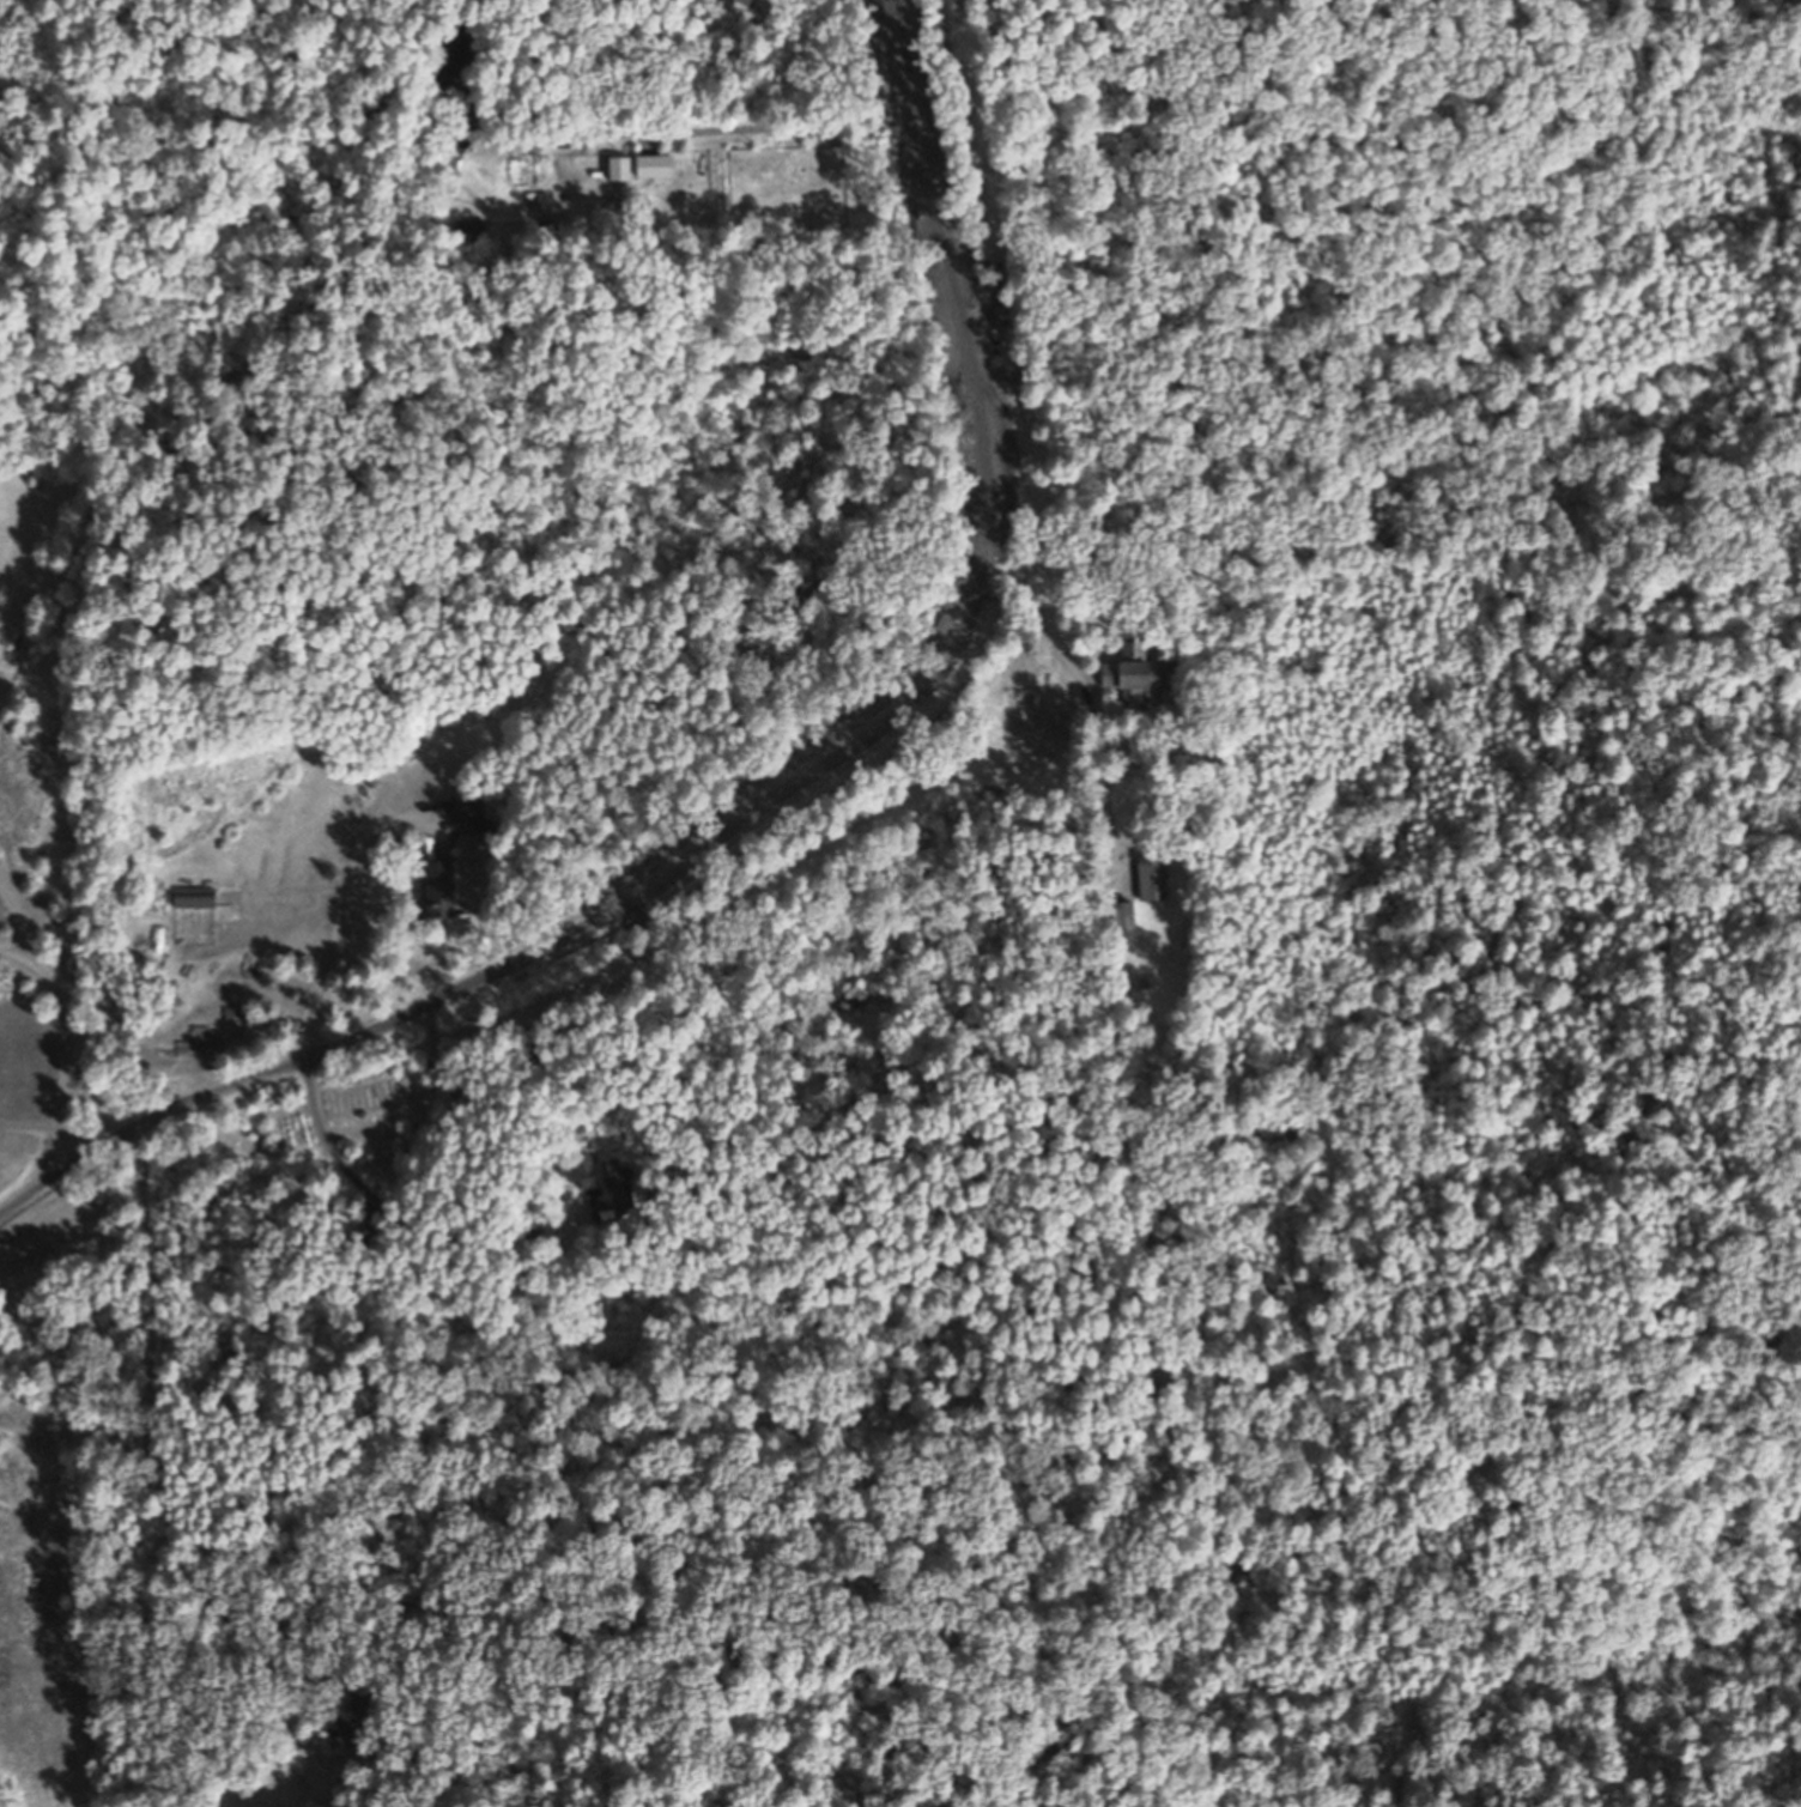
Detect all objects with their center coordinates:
building: (450, 55)
building: (472, 230)
building: (1133, 672)
road: (780, 790)
building: (473, 815)
building: (1153, 875)
building: (437, 887)
building: (193, 898)
building: (1123, 917)
road: (18, 956)
road: (61, 1012)
road: (314, 1098)
building: (606, 1186)
road: (157, 1445)
building: (352, 1717)

